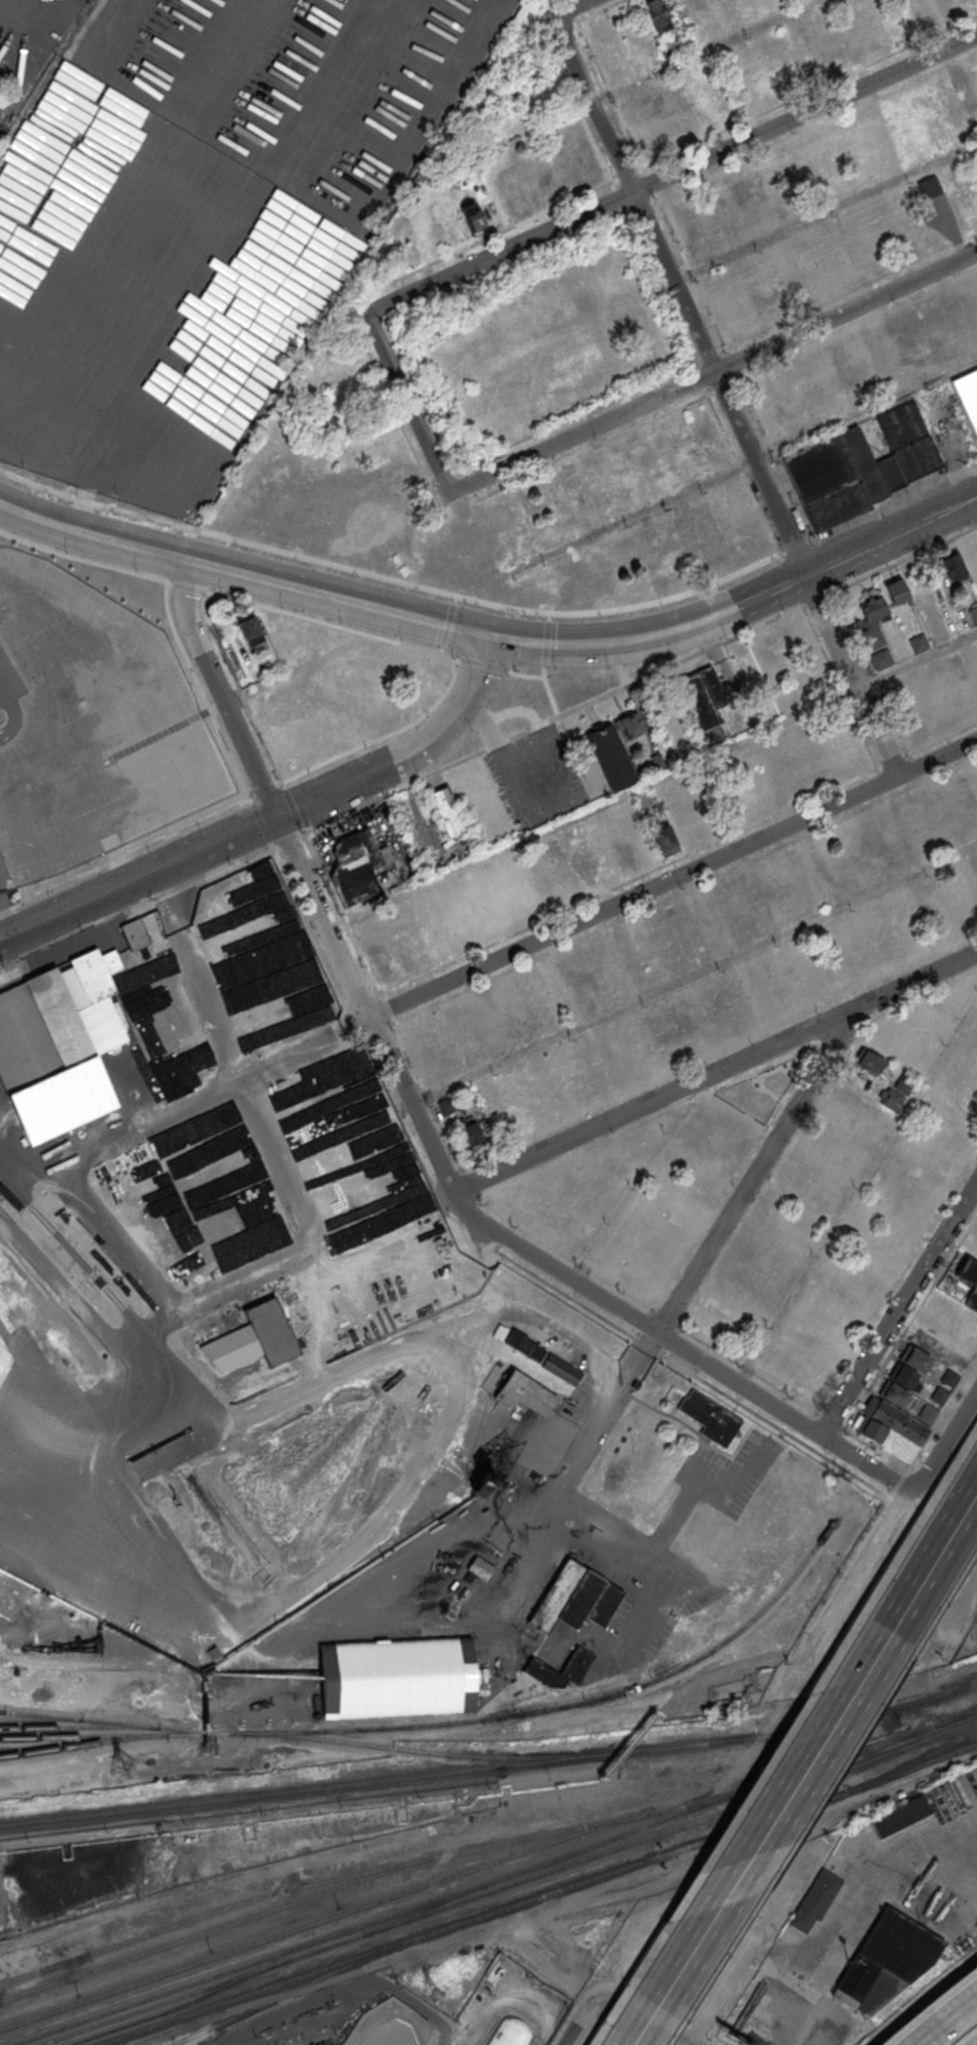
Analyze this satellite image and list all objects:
building: (968, 4)
road: (574, 5)
building: (657, 14)
building: (931, 14)
road: (114, 30)
road: (699, 50)
road: (227, 56)
road: (342, 86)
road: (805, 112)
building: (929, 186)
road: (824, 208)
building: (475, 218)
building: (937, 227)
road: (498, 252)
building: (764, 298)
road: (845, 311)
road: (723, 393)
building: (967, 394)
road: (407, 405)
road: (824, 430)
road: (581, 432)
building: (904, 447)
building: (862, 464)
building: (825, 481)
road: (894, 503)
building: (292, 517)
road: (913, 527)
road: (794, 548)
building: (953, 565)
road: (827, 566)
road: (246, 573)
road: (387, 579)
building: (658, 579)
road: (779, 588)
building: (897, 590)
road: (745, 604)
building: (973, 613)
road: (702, 621)
building: (871, 621)
building: (250, 628)
traffic signals: (495, 636)
road: (647, 637)
building: (919, 642)
road: (559, 644)
building: (883, 659)
building: (714, 687)
road: (234, 698)
building: (699, 701)
building: (630, 724)
building: (611, 755)
building: (657, 761)
road: (651, 780)
road: (265, 791)
building: (645, 800)
building: (447, 810)
road: (274, 818)
building: (579, 833)
building: (665, 838)
building: (356, 867)
building: (587, 869)
road: (671, 878)
building: (971, 909)
road: (6, 916)
building: (142, 933)
building: (96, 972)
road: (695, 977)
building: (302, 1004)
building: (46, 1035)
building: (869, 1061)
building: (976, 1064)
road: (242, 1073)
building: (903, 1084)
building: (351, 1090)
park: (762, 1090)
building: (892, 1099)
building: (447, 1105)
building: (468, 1131)
road: (572, 1136)
building: (358, 1155)
road: (274, 1165)
road: (755, 1170)
road: (858, 1193)
building: (313, 1211)
building: (682, 1212)
building: (240, 1223)
building: (219, 1244)
building: (193, 1246)
road: (467, 1266)
building: (972, 1292)
building: (330, 1296)
road: (898, 1307)
road: (647, 1328)
building: (255, 1338)
building: (525, 1346)
building: (916, 1358)
building: (905, 1376)
building: (950, 1377)
building: (522, 1393)
building: (893, 1393)
building: (939, 1394)
building: (928, 1412)
building: (715, 1420)
building: (891, 1429)
road: (568, 1478)
road: (639, 1551)
road: (933, 1558)
building: (480, 1566)
road: (384, 1584)
building: (576, 1597)
road: (607, 1651)
building: (577, 1664)
building: (396, 1676)
railway: (2, 1710)
railway: (956, 1716)
railway: (40, 1717)
railway: (117, 1722)
railway: (453, 1722)
railway: (79, 1726)
railway: (83, 1745)
railway: (42, 1748)
railway: (427, 1751)
railway: (922, 1756)
power tower: (128, 1763)
railway: (491, 1767)
railway: (814, 1780)
railway: (856, 1788)
building: (900, 1816)
road: (759, 1836)
railway: (368, 1871)
railway: (493, 1880)
railway: (538, 1896)
building: (814, 1899)
road: (855, 1903)
railway: (323, 1918)
railway: (215, 1929)
railway: (341, 1940)
building: (886, 1960)
road: (742, 1964)
power tower: (429, 1991)
railway: (176, 2007)
road: (942, 2016)
road: (581, 2022)
road: (636, 2022)
road: (449, 2028)
building: (509, 2032)
railway: (177, 2042)

